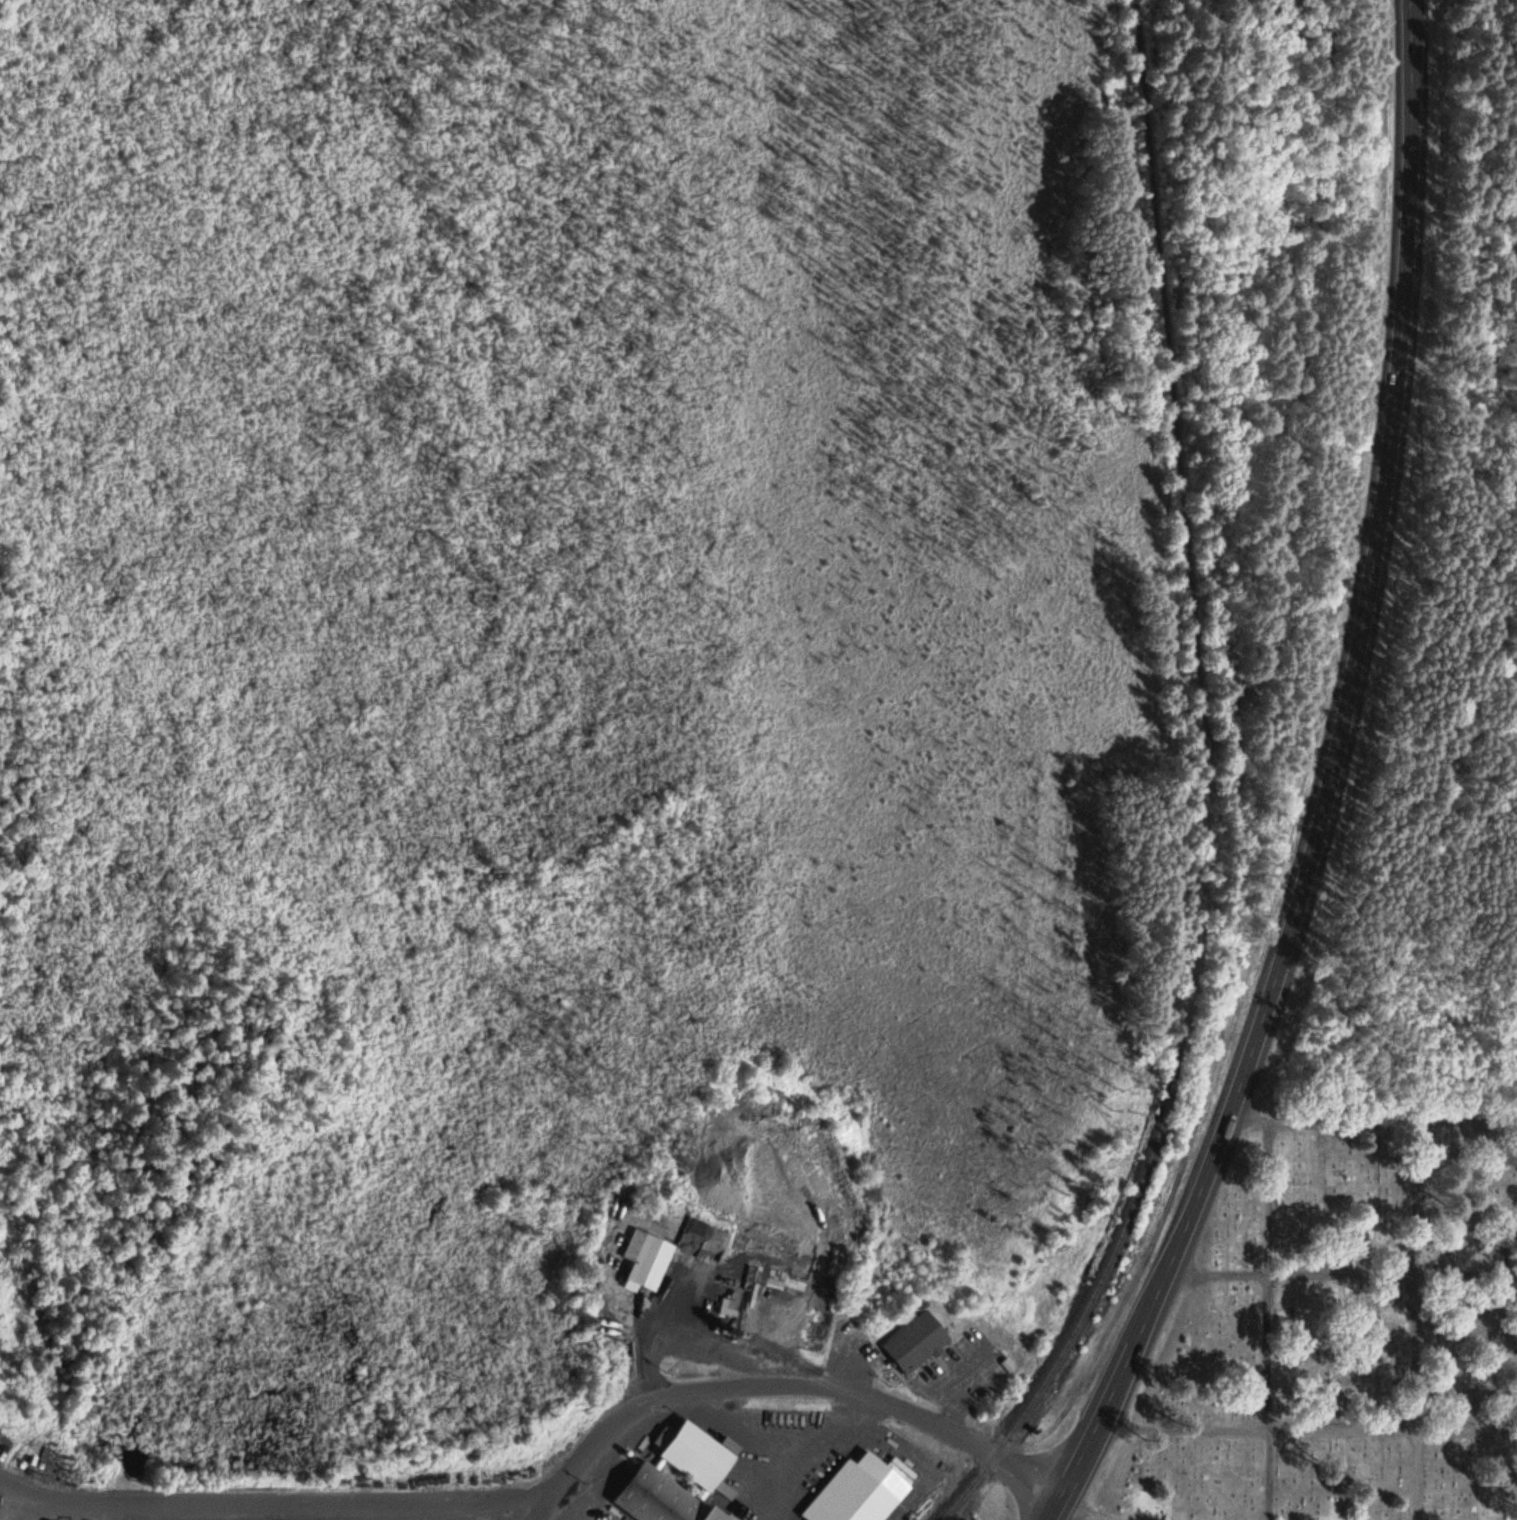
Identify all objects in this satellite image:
railway: (1190, 525)
road: (1330, 784)
road: (1374, 1119)
building: (649, 1262)
road: (1341, 1275)
railway: (1091, 1299)
road: (1414, 1319)
road: (1267, 1320)
park: (1342, 1326)
building: (918, 1342)
road: (788, 1381)
road: (1308, 1428)
building: (681, 1477)
building: (862, 1492)
road: (287, 1500)
road: (1087, 1511)

